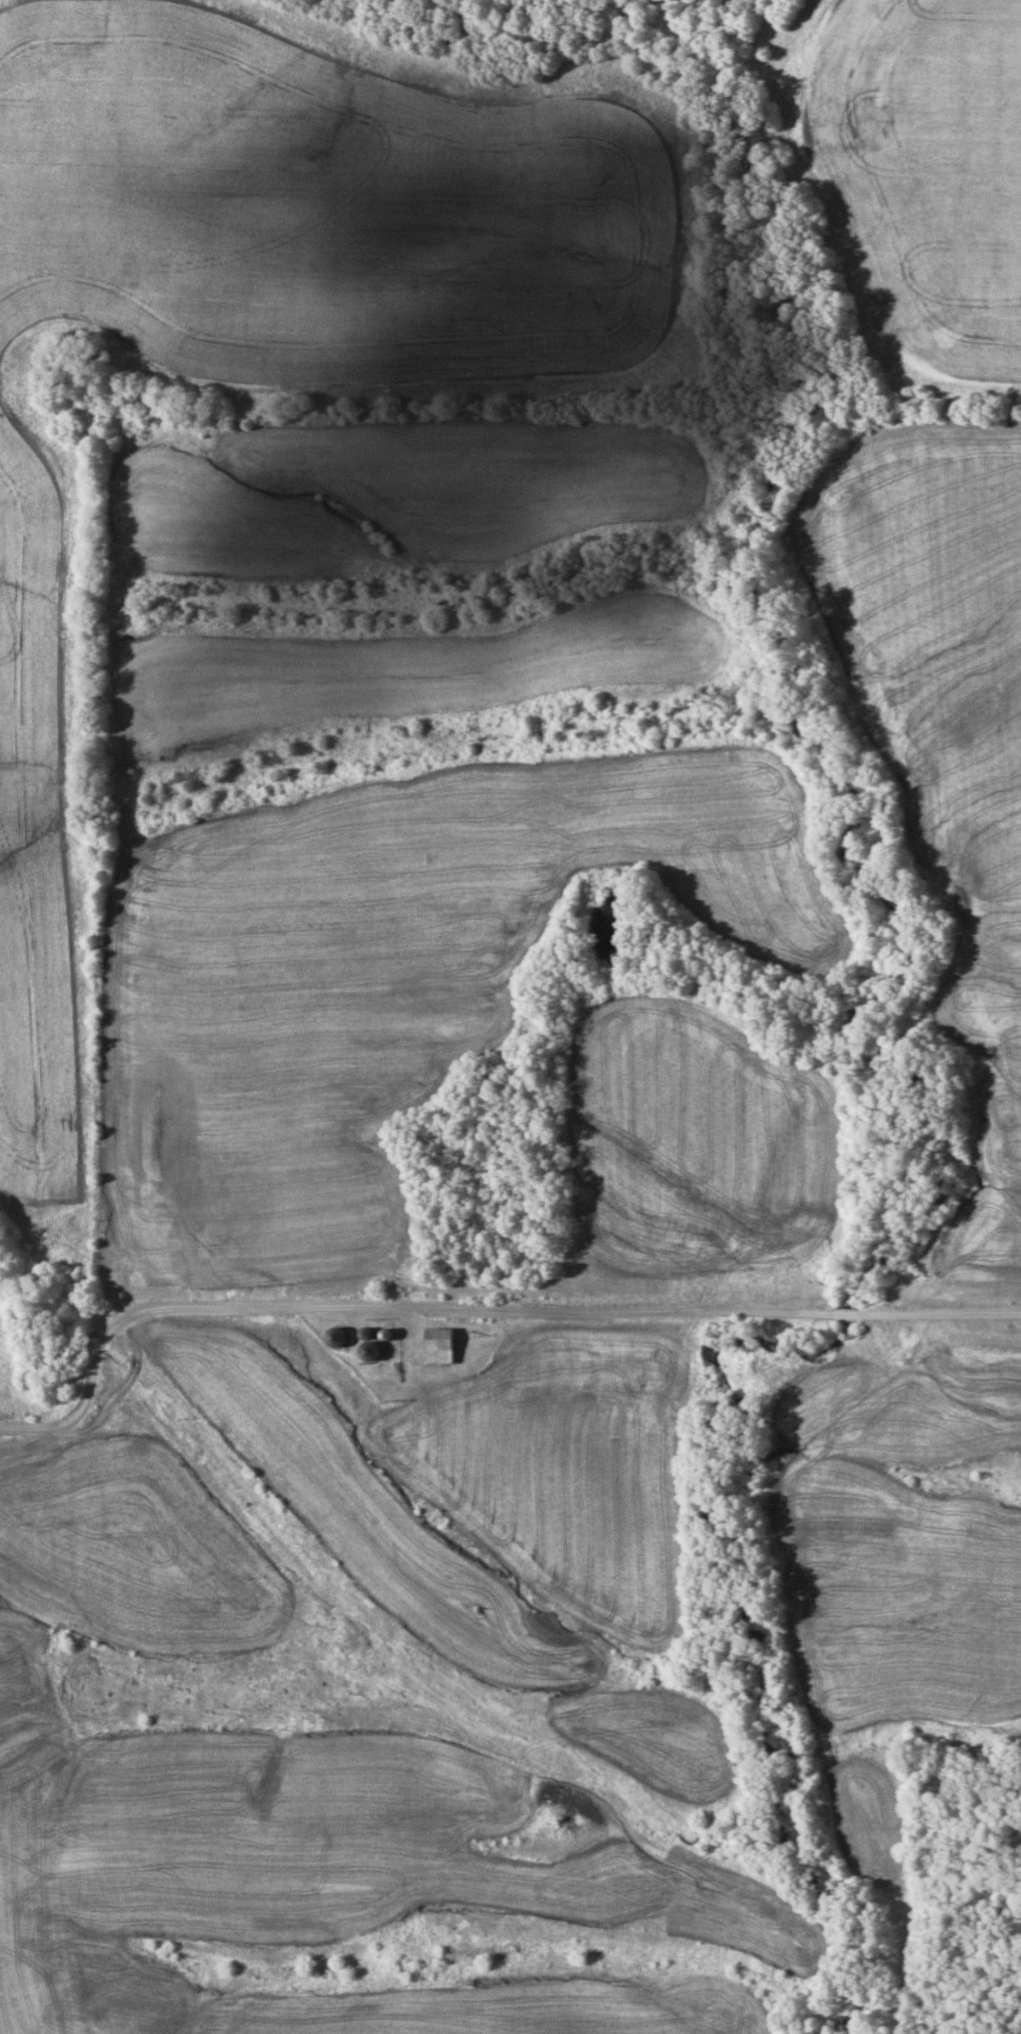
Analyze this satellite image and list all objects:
road: (473, 1316)
building: (339, 1337)
building: (447, 1346)

